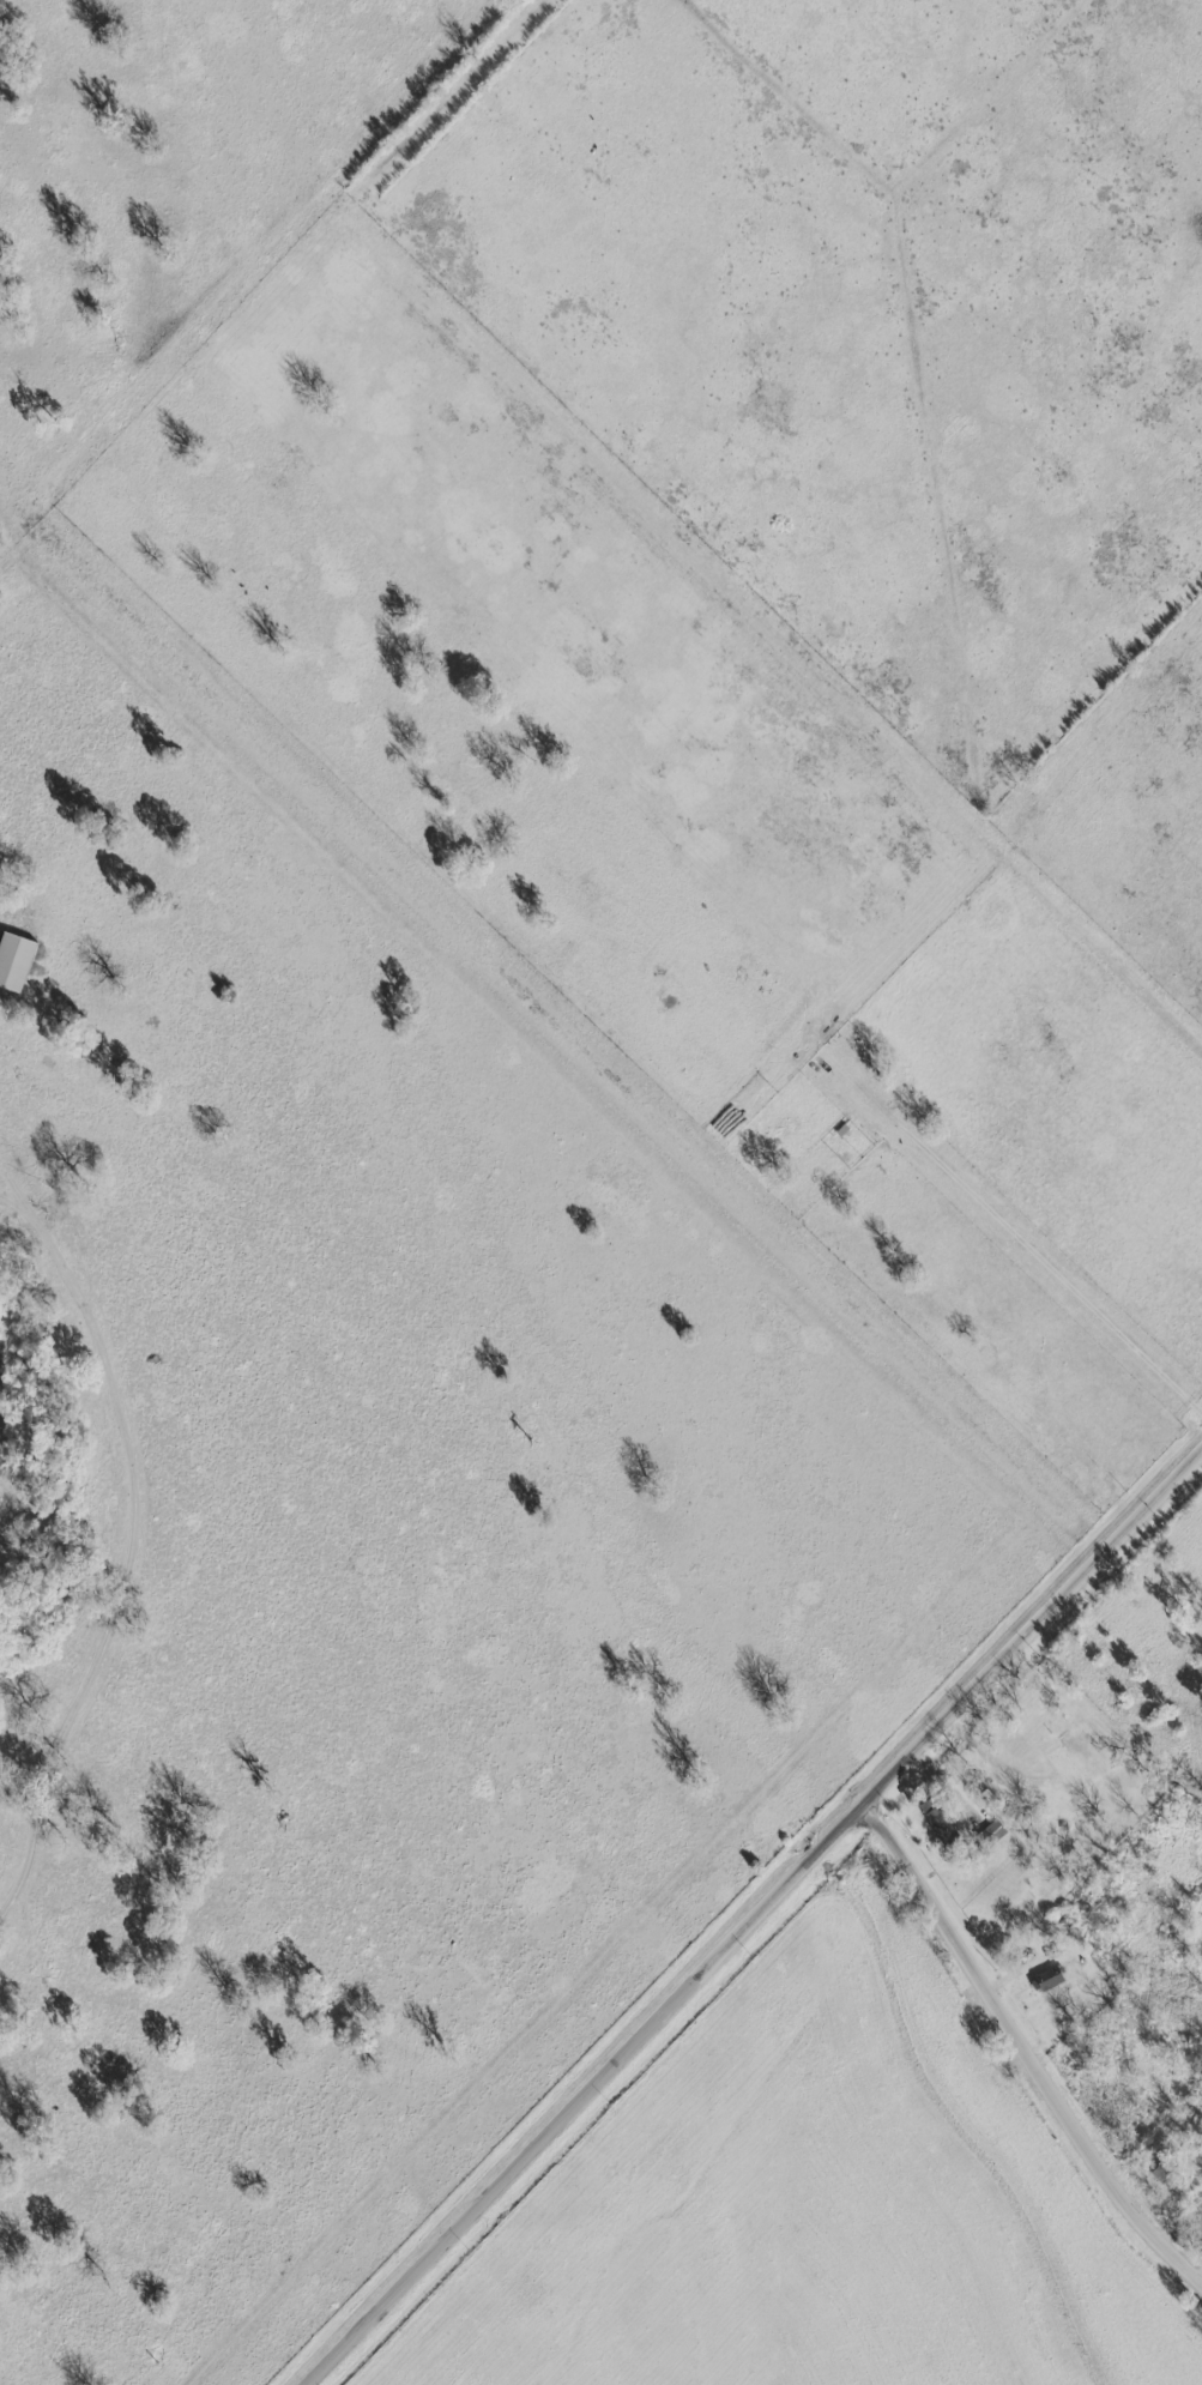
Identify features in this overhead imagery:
building: (13, 960)
road: (128, 1541)
building: (1065, 1770)
building: (938, 1823)
road: (750, 1916)
building: (1045, 1980)
road: (1022, 2048)

